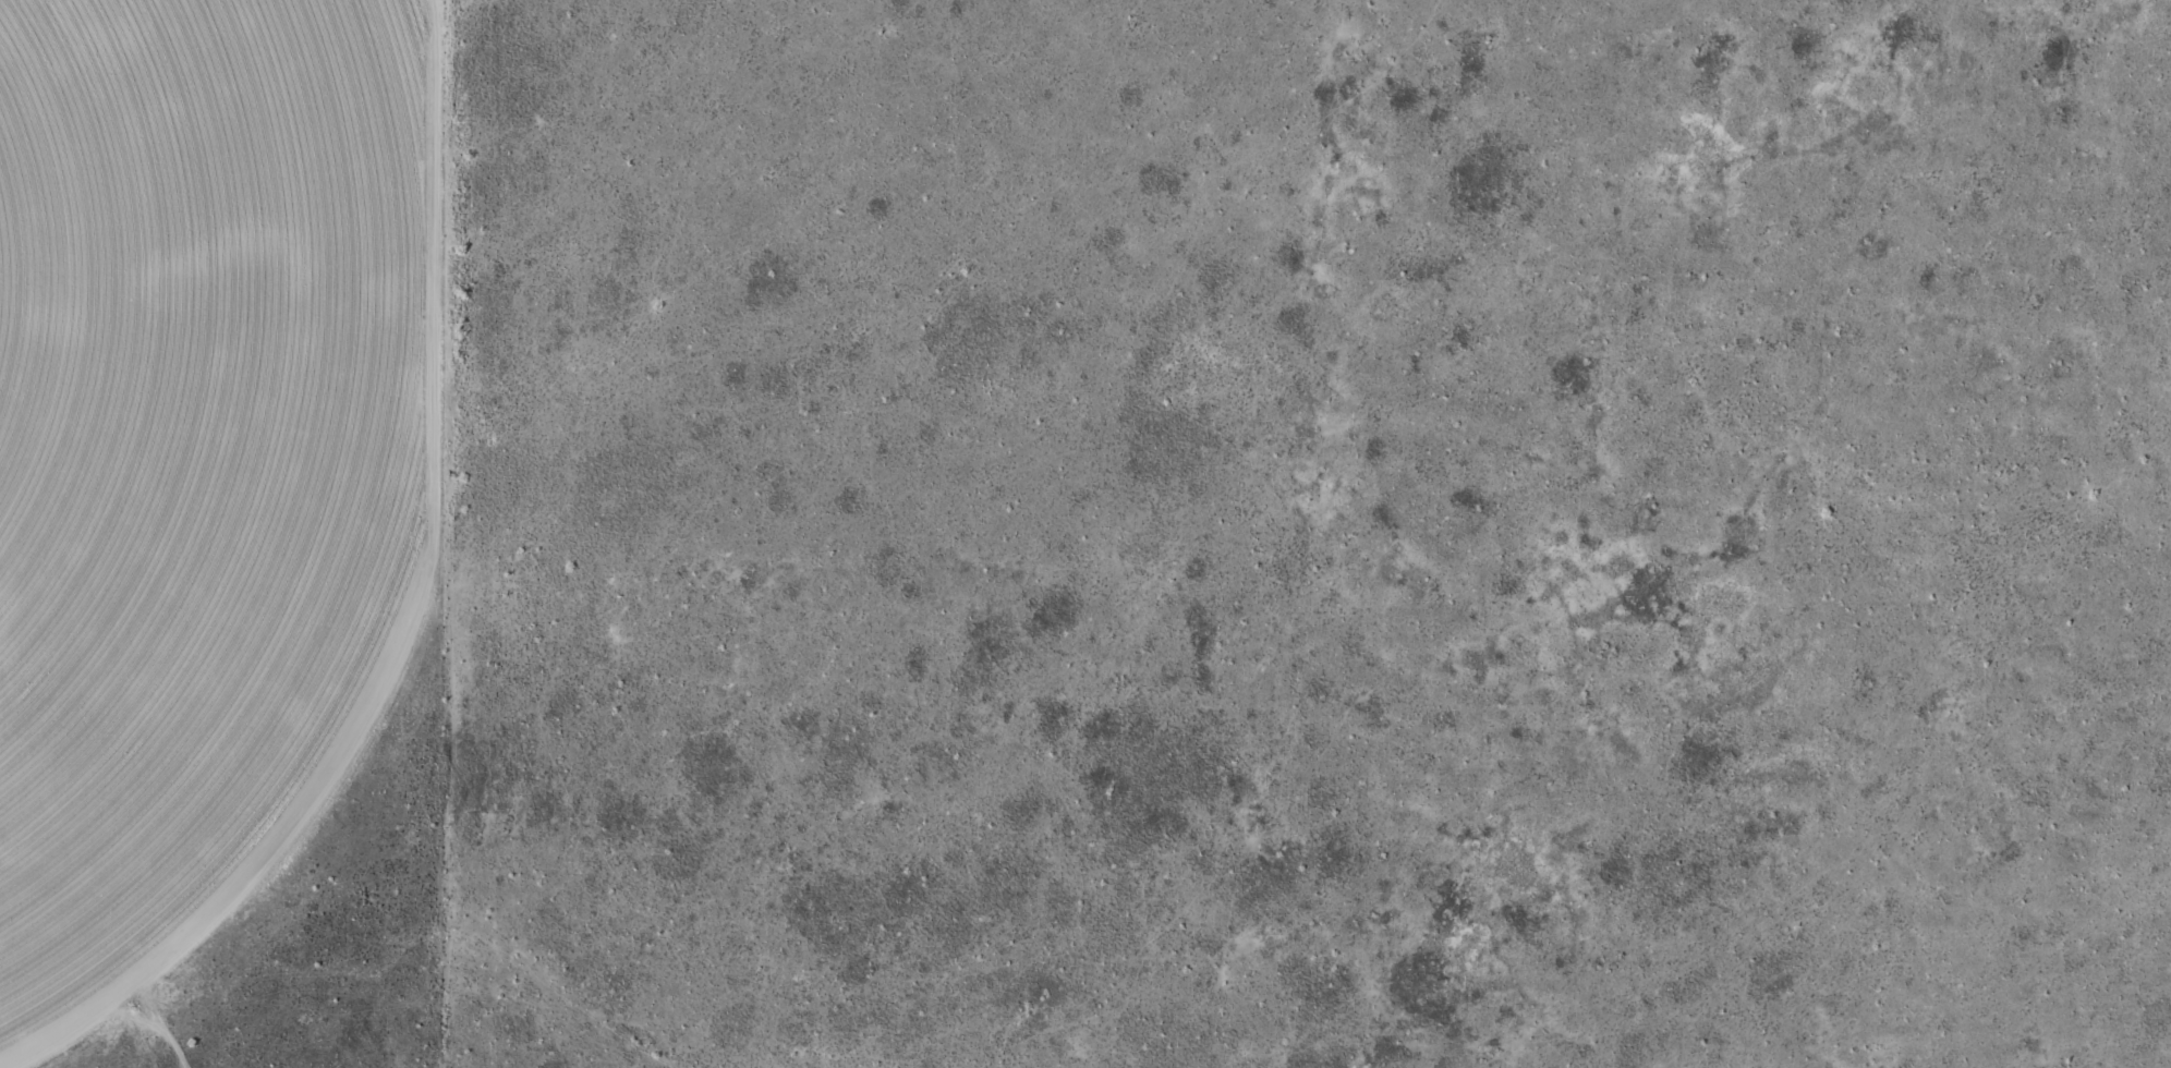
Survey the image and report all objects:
road: (462, 532)

